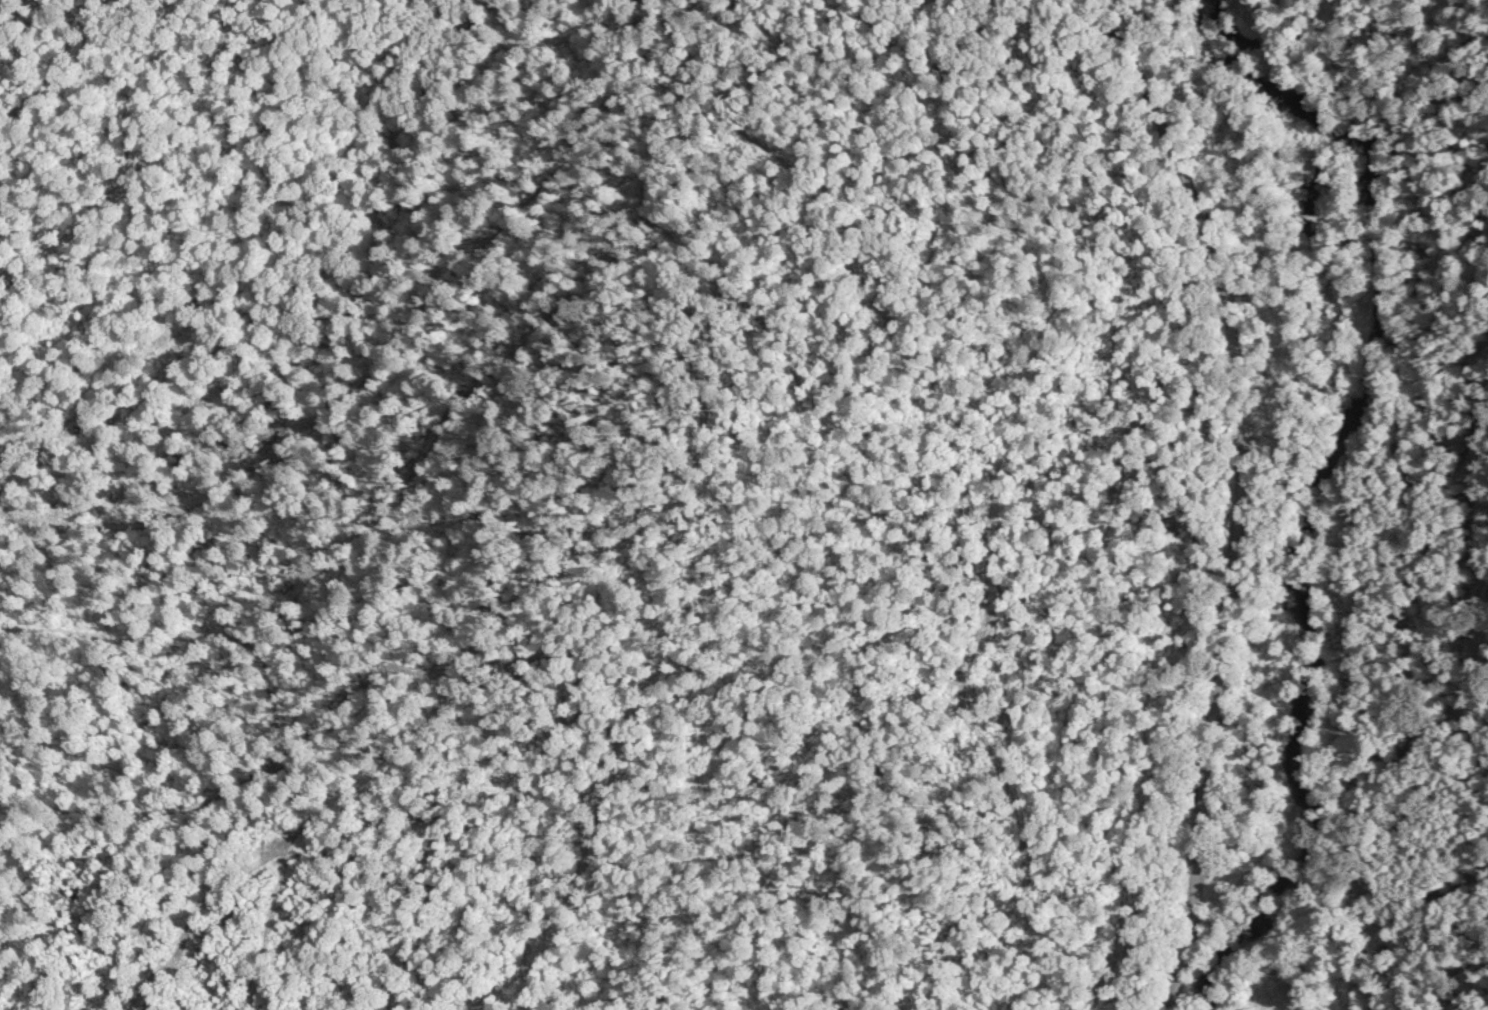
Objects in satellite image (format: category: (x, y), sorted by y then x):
road: (1232, 317)
road: (1197, 841)

